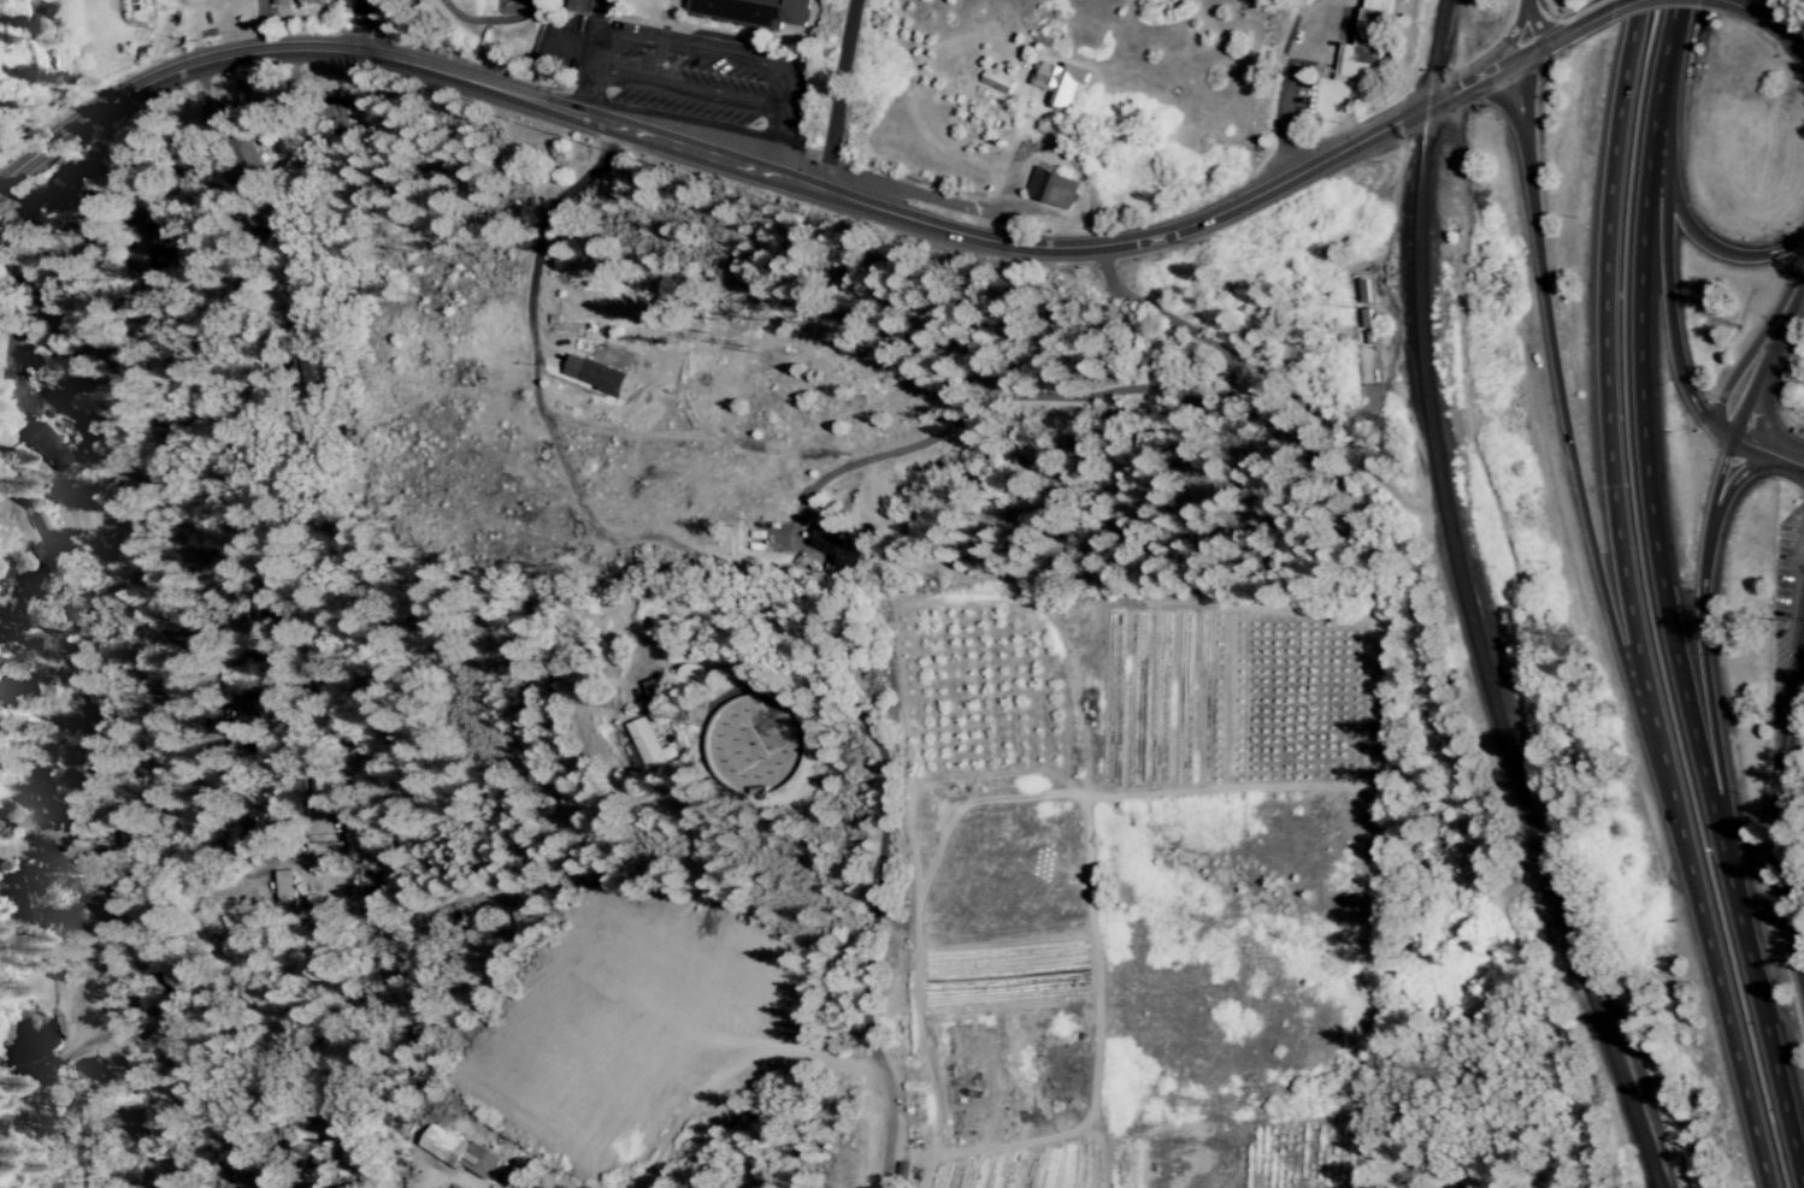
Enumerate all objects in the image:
building: (308, 1)
road: (1720, 1)
building: (277, 2)
building: (577, 6)
building: (753, 12)
road: (1611, 12)
road: (1770, 24)
road: (354, 26)
road: (1534, 26)
road: (1510, 36)
building: (1367, 43)
road: (703, 47)
road: (1290, 76)
building: (995, 82)
building: (1059, 83)
road: (688, 93)
road: (836, 95)
building: (246, 156)
road: (788, 182)
building: (71, 184)
building: (1050, 188)
road: (283, 236)
road: (1691, 237)
road: (1787, 299)
road: (1667, 308)
road: (11, 313)
building: (1364, 319)
building: (312, 370)
building: (591, 374)
road: (1732, 374)
road: (506, 380)
road: (1554, 383)
road: (1752, 385)
road: (1086, 395)
road: (1763, 420)
building: (47, 449)
road: (1755, 449)
road: (1728, 487)
building: (838, 549)
parking lot: (1784, 587)
road: (1626, 599)
road: (1659, 599)
road: (111, 605)
railway: (1468, 605)
building: (266, 608)
road: (67, 628)
road: (28, 634)
road: (1700, 643)
building: (653, 688)
road: (165, 699)
building: (647, 744)
water tower: (755, 750)
road: (1775, 804)
building: (249, 834)
building: (323, 847)
road: (880, 888)
building: (284, 891)
road: (89, 914)
road: (77, 1048)
building: (90, 1068)
road: (738, 1103)
building: (455, 1152)
road: (798, 1169)
road: (138, 1187)
road: (140, 1187)
building: (453, 1187)

